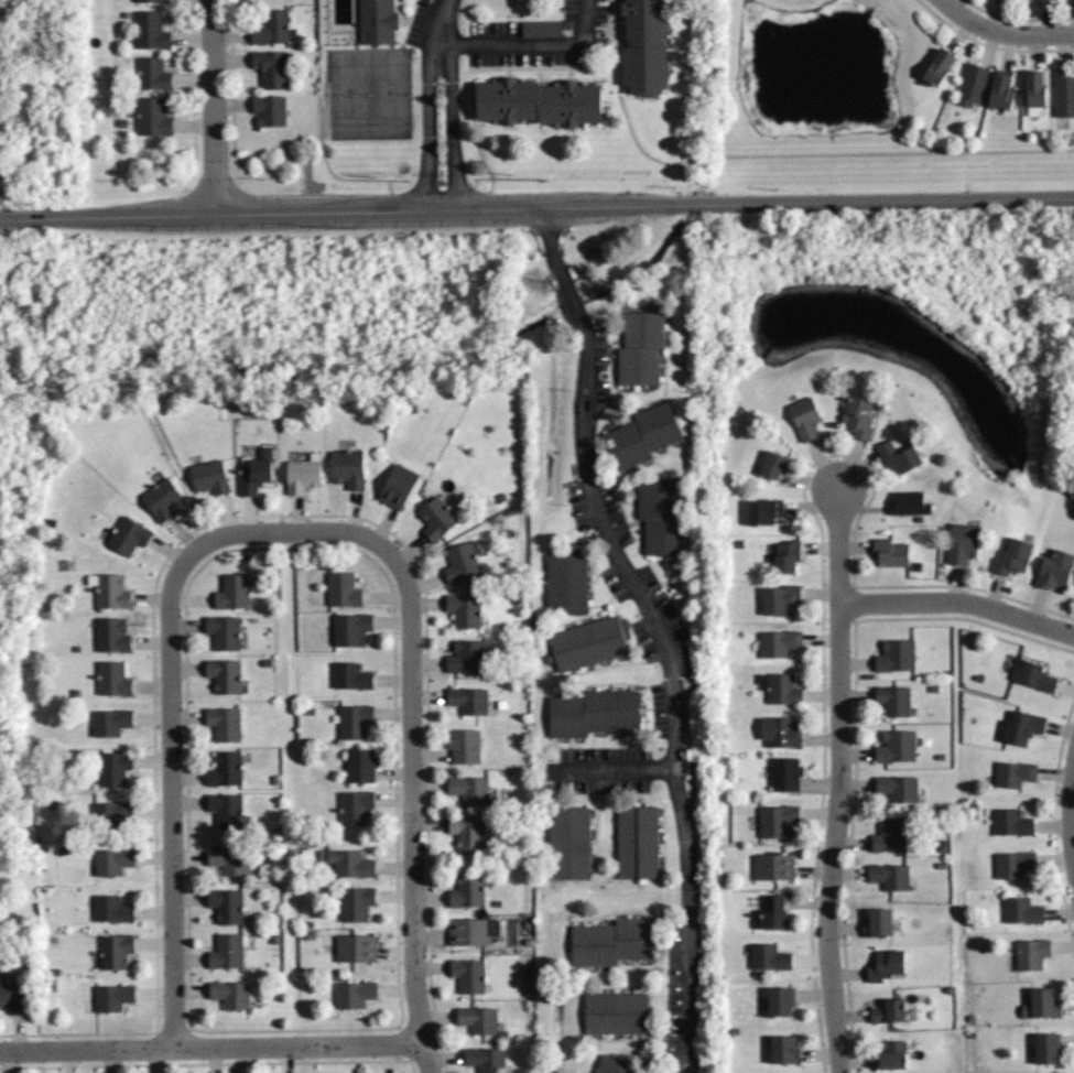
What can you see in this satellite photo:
building: (151, 1)
road: (946, 3)
building: (377, 21)
building: (272, 29)
building: (542, 30)
building: (149, 31)
road: (1008, 33)
road: (529, 42)
building: (644, 46)
building: (270, 67)
building: (939, 67)
building: (151, 76)
building: (973, 85)
building: (1002, 89)
building: (1035, 93)
building: (1064, 95)
building: (539, 101)
road: (441, 104)
road: (213, 107)
building: (269, 109)
building: (152, 118)
road: (536, 207)
building: (641, 347)
building: (859, 418)
building: (803, 420)
building: (642, 435)
building: (899, 456)
building: (773, 465)
building: (348, 469)
building: (254, 473)
building: (209, 476)
building: (302, 476)
building: (398, 484)
building: (162, 497)
building: (908, 501)
building: (764, 511)
building: (436, 516)
building: (661, 518)
building: (129, 536)
building: (962, 544)
building: (890, 552)
building: (1015, 557)
building: (785, 559)
building: (462, 560)
building: (1055, 571)
building: (566, 579)
building: (344, 588)
building: (110, 589)
building: (231, 590)
building: (779, 598)
road: (958, 601)
building: (464, 608)
building: (350, 628)
road: (658, 630)
building: (224, 631)
building: (111, 635)
building: (778, 641)
building: (587, 642)
building: (896, 654)
building: (467, 655)
building: (221, 674)
building: (349, 675)
building: (1032, 676)
building: (112, 679)
building: (781, 687)
building: (893, 697)
building: (467, 701)
building: (594, 713)
building: (354, 720)
building: (109, 722)
building: (223, 724)
building: (1022, 727)
building: (780, 733)
building: (464, 744)
road: (170, 745)
road: (840, 745)
building: (894, 746)
road: (412, 758)
building: (359, 765)
building: (113, 768)
building: (225, 769)
road: (610, 770)
building: (784, 776)
building: (1013, 776)
building: (469, 787)
building: (896, 788)
building: (354, 808)
building: (225, 811)
building: (110, 812)
road: (1072, 816)
building: (775, 820)
building: (1010, 822)
building: (467, 831)
building: (889, 837)
building: (638, 841)
building: (569, 842)
building: (228, 859)
building: (112, 860)
building: (347, 861)
building: (1012, 864)
building: (773, 866)
building: (889, 877)
building: (468, 889)
building: (356, 902)
building: (227, 904)
building: (111, 909)
building: (1021, 912)
building: (773, 913)
building: (876, 923)
building: (474, 931)
building: (612, 942)
building: (356, 949)
building: (115, 951)
building: (227, 952)
building: (1030, 954)
building: (769, 955)
building: (885, 966)
building: (468, 975)
building: (230, 994)
building: (354, 994)
building: (12, 996)
building: (112, 997)
building: (782, 1000)
building: (1040, 1002)
building: (889, 1010)
building: (616, 1012)
building: (478, 1019)
road: (837, 1037)
road: (213, 1047)
building: (784, 1048)
building: (1049, 1048)
building: (892, 1055)
building: (485, 1059)
building: (615, 1065)

